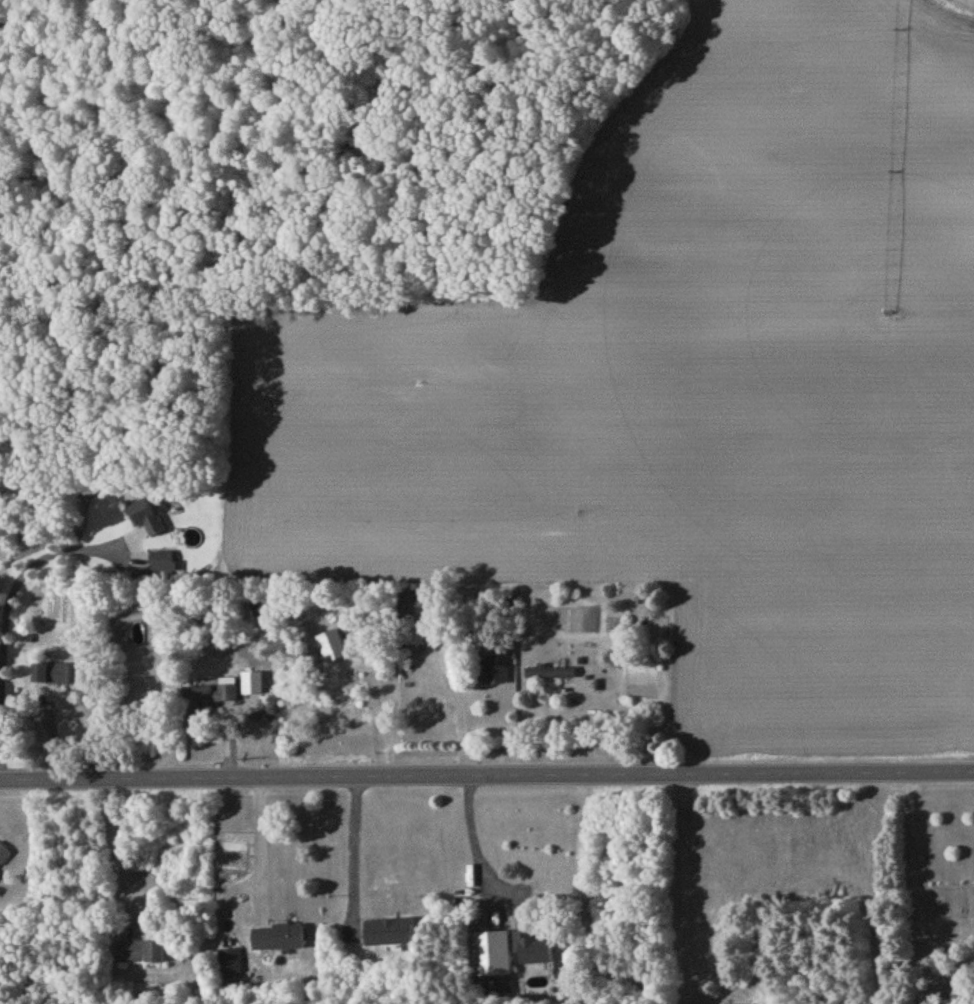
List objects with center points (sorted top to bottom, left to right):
building: (147, 519)
building: (161, 562)
road: (17, 571)
building: (415, 638)
building: (490, 673)
building: (550, 675)
building: (51, 676)
road: (580, 695)
building: (206, 699)
road: (486, 775)
road: (259, 841)
road: (352, 847)
road: (475, 852)
building: (3, 857)
road: (113, 857)
building: (389, 934)
building: (278, 940)
building: (532, 950)
building: (139, 954)
building: (230, 964)
building: (544, 979)

